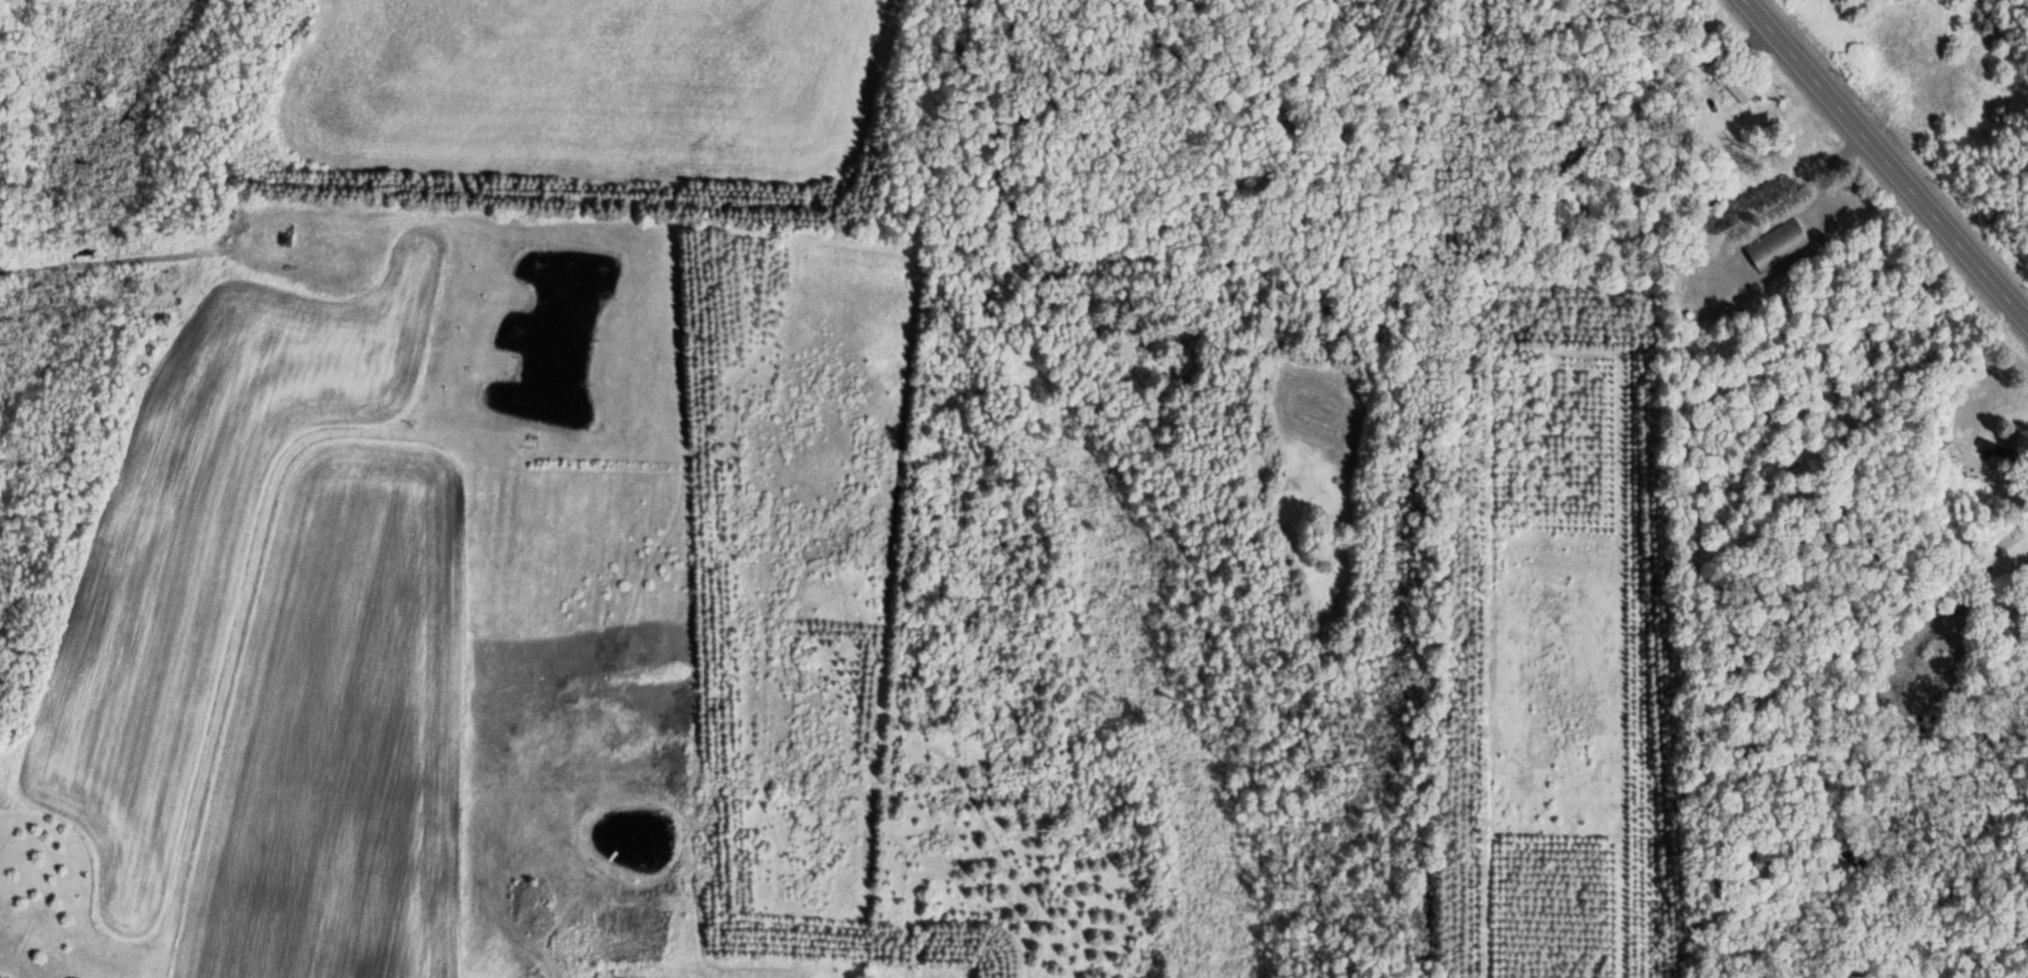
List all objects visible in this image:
road: (1886, 161)

